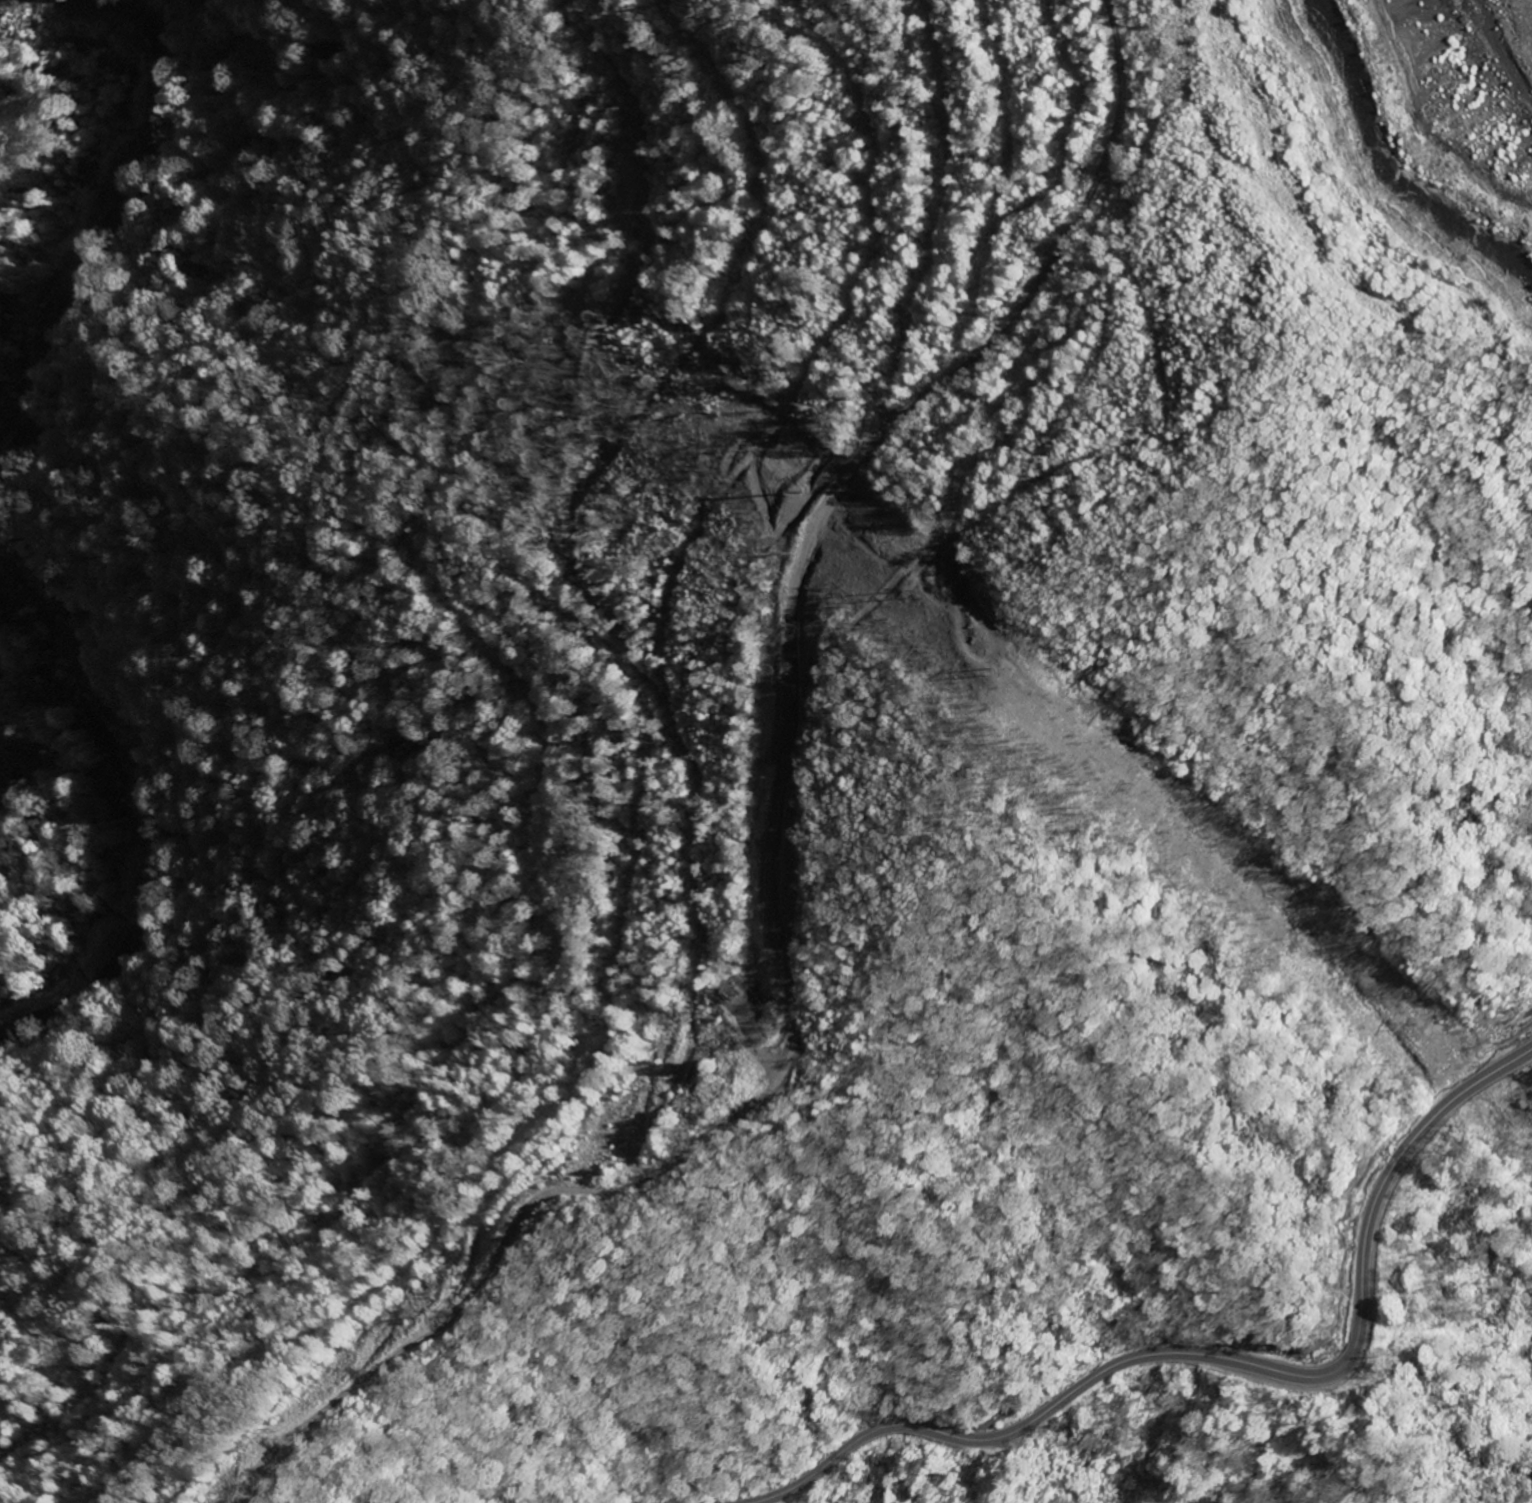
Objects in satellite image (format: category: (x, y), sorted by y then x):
road: (15, 536)
power tower: (931, 591)
road: (805, 669)
power tower: (1128, 789)
power tower: (1401, 1027)
road: (1222, 1357)
road: (350, 1385)

